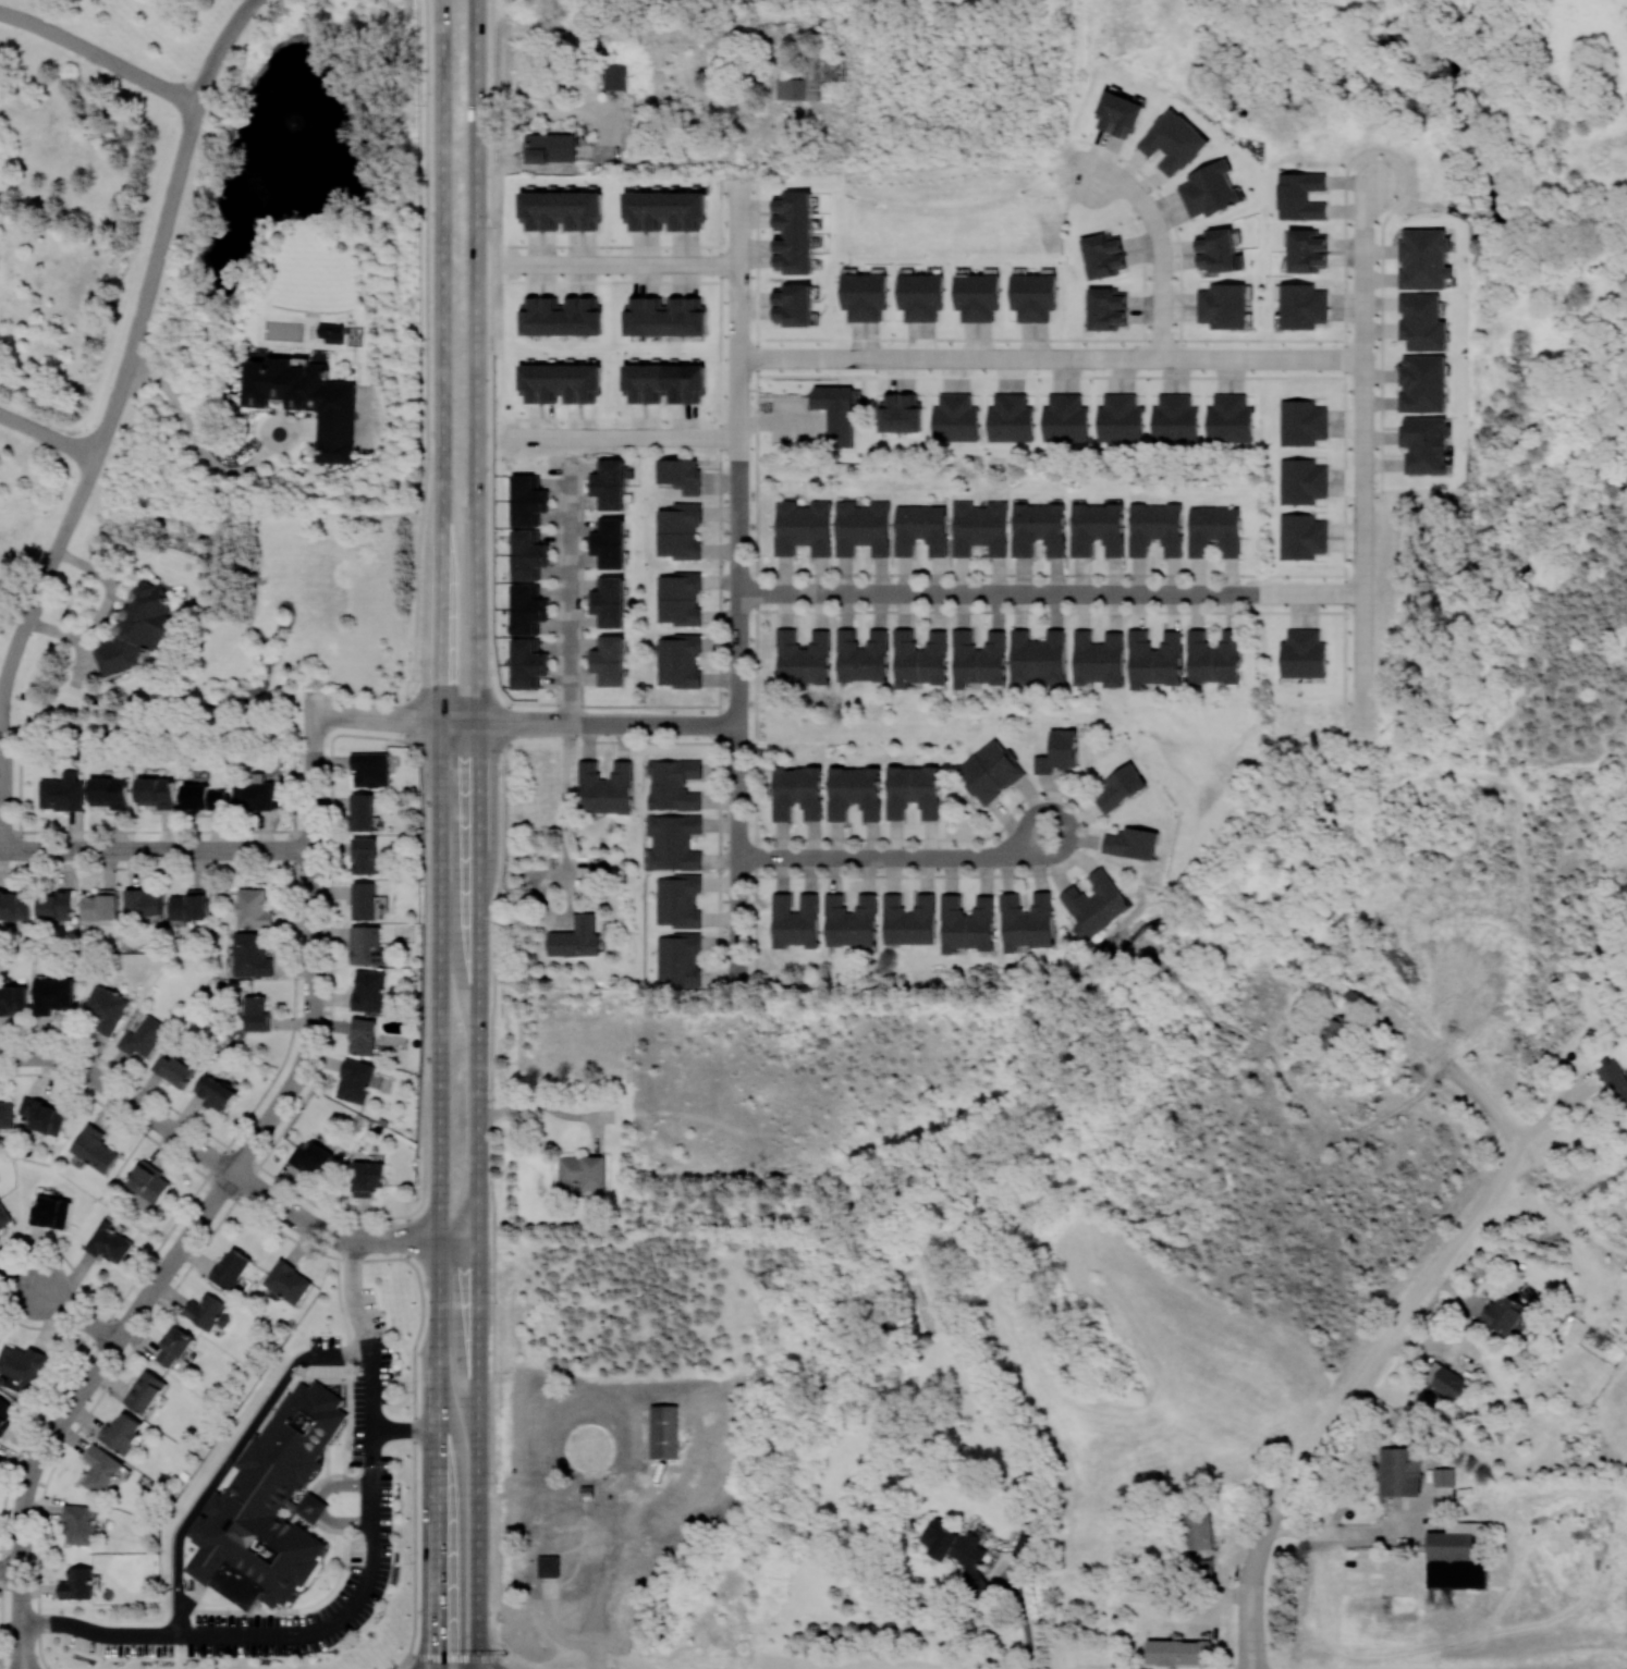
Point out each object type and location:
park: (1304, 41)
road: (217, 48)
road: (97, 56)
building: (614, 76)
building: (803, 82)
road: (700, 86)
road: (852, 95)
river: (1301, 99)
park: (1565, 112)
building: (1120, 114)
road: (979, 124)
fountain: (305, 128)
road: (741, 135)
building: (1173, 142)
building: (549, 147)
river: (1480, 158)
road: (741, 183)
road: (1121, 186)
building: (1209, 189)
building: (1300, 196)
building: (560, 209)
building: (664, 210)
road: (1171, 217)
building: (794, 232)
building: (1218, 250)
building: (1307, 251)
building: (1103, 255)
building: (1423, 258)
road: (622, 262)
road: (506, 263)
road: (1162, 274)
road: (1143, 275)
building: (864, 295)
building: (920, 295)
building: (977, 296)
building: (1033, 296)
building: (794, 304)
building: (1222, 305)
building: (1301, 306)
building: (1106, 308)
building: (561, 316)
building: (665, 317)
road: (739, 320)
building: (1421, 321)
building: (331, 332)
road: (1363, 332)
road: (1051, 339)
road: (901, 355)
road: (1077, 355)
road: (1227, 355)
road: (427, 360)
park: (1543, 379)
building: (560, 382)
building: (664, 382)
building: (1422, 383)
park: (1623, 386)
river: (1606, 389)
building: (307, 401)
building: (836, 413)
building: (900, 413)
road: (610, 418)
building: (954, 418)
building: (1010, 418)
building: (1065, 418)
building: (1120, 418)
building: (1174, 418)
building: (1230, 418)
building: (1301, 421)
road: (625, 433)
road: (47, 435)
road: (196, 439)
building: (1424, 444)
road: (739, 464)
building: (681, 474)
road: (85, 475)
building: (1301, 480)
building: (611, 483)
building: (528, 500)
building: (803, 527)
building: (861, 527)
building: (979, 527)
building: (1038, 528)
building: (1097, 528)
building: (1155, 528)
building: (920, 529)
building: (678, 530)
building: (1213, 530)
building: (1301, 536)
road: (1363, 539)
building: (612, 542)
building: (528, 554)
road: (757, 574)
road: (719, 576)
road: (739, 587)
road: (1051, 591)
road: (571, 596)
building: (678, 598)
road: (1363, 601)
building: (610, 602)
building: (528, 609)
building: (137, 628)
road: (1362, 651)
building: (1302, 653)
building: (861, 655)
building: (803, 656)
building: (1038, 656)
building: (1213, 656)
building: (919, 658)
building: (978, 658)
building: (1099, 658)
building: (1154, 659)
building: (611, 661)
building: (678, 661)
building: (528, 663)
park: (1421, 677)
road: (310, 695)
road: (739, 710)
road: (1362, 710)
road: (353, 714)
park: (865, 719)
road: (426, 720)
road: (468, 722)
road: (497, 723)
road: (546, 723)
road: (608, 723)
road: (689, 724)
road: (311, 731)
road: (739, 738)
building: (1057, 751)
building: (370, 769)
building: (990, 771)
building: (673, 784)
building: (1121, 786)
building: (604, 787)
park: (1554, 789)
building: (62, 791)
building: (109, 791)
building: (156, 791)
building: (797, 791)
building: (854, 791)
building: (913, 791)
building: (253, 795)
building: (203, 797)
road: (566, 798)
building: (362, 811)
road: (739, 812)
road: (502, 829)
road: (439, 834)
road: (478, 834)
building: (672, 842)
building: (1133, 842)
road: (156, 849)
building: (365, 855)
road: (897, 857)
road: (313, 863)
building: (364, 899)
building: (677, 900)
road: (739, 900)
building: (143, 903)
building: (1094, 903)
building: (13, 904)
building: (56, 905)
building: (99, 905)
building: (187, 905)
building: (252, 908)
road: (547, 915)
building: (908, 919)
building: (795, 920)
building: (851, 920)
building: (1027, 921)
building: (967, 923)
building: (576, 937)
building: (369, 945)
road: (739, 945)
building: (250, 955)
building: (678, 958)
road: (738, 973)
building: (369, 991)
building: (52, 994)
building: (13, 998)
building: (106, 1009)
building: (256, 1013)
building: (1335, 1030)
building: (364, 1035)
building: (144, 1036)
road: (1449, 1066)
building: (174, 1069)
building: (355, 1080)
road: (294, 1082)
building: (1615, 1082)
building: (215, 1092)
road: (123, 1095)
road: (536, 1104)
road: (1551, 1109)
building: (7, 1115)
building: (42, 1115)
road: (604, 1116)
road: (595, 1134)
building: (94, 1148)
building: (311, 1156)
building: (582, 1171)
building: (368, 1177)
building: (149, 1181)
road: (421, 1199)
road: (288, 1208)
building: (51, 1211)
road: (205, 1214)
building: (4, 1216)
road: (375, 1239)
road: (441, 1239)
building: (109, 1241)
building: (231, 1268)
road: (1436, 1269)
building: (286, 1281)
building: (208, 1312)
road: (78, 1313)
building: (1503, 1314)
building: (174, 1346)
building: (24, 1365)
building: (145, 1390)
building: (5, 1412)
road: (64, 1418)
road: (405, 1427)
building: (663, 1431)
building: (122, 1433)
road: (230, 1455)
building: (100, 1469)
building: (1399, 1471)
building: (1443, 1476)
building: (269, 1505)
road: (1271, 1515)
building: (79, 1523)
building: (1196, 1531)
road: (1344, 1533)
building: (957, 1551)
road: (611, 1559)
building: (548, 1566)
road: (11, 1569)
building: (77, 1583)
road: (359, 1586)
road: (1024, 1618)
road: (553, 1625)
road: (22, 1635)
traffic signals: (438, 1647)
building: (1178, 1652)
road: (595, 1655)
road: (470, 1656)
road: (1251, 1666)
road: (22, 1667)
road: (397, 1667)
road: (523, 1668)

